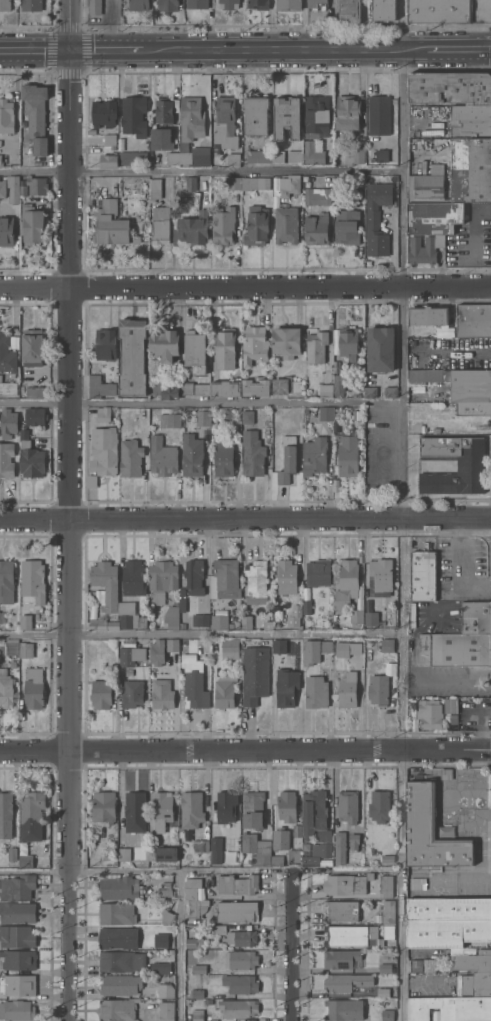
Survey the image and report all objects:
building: (197, 4)
building: (228, 4)
building: (258, 4)
building: (317, 4)
building: (5, 5)
building: (31, 5)
building: (139, 5)
building: (167, 5)
building: (289, 5)
building: (95, 7)
building: (383, 10)
building: (349, 11)
building: (440, 11)
road: (274, 48)
road: (446, 48)
road: (34, 49)
traffic signals: (69, 49)
road: (108, 49)
building: (450, 87)
building: (165, 109)
building: (347, 112)
building: (104, 113)
building: (316, 113)
building: (255, 115)
building: (378, 115)
building: (6, 116)
building: (36, 116)
building: (133, 116)
building: (287, 116)
building: (191, 118)
building: (471, 121)
building: (225, 122)
building: (161, 138)
building: (109, 139)
building: (0, 144)
building: (355, 153)
building: (195, 154)
building: (382, 155)
building: (259, 156)
building: (278, 156)
building: (295, 156)
building: (133, 157)
building: (173, 158)
building: (329, 158)
building: (233, 159)
building: (109, 160)
building: (1, 161)
road: (200, 172)
building: (458, 175)
building: (190, 183)
building: (235, 183)
building: (255, 183)
building: (36, 185)
building: (289, 185)
building: (2, 188)
building: (13, 189)
building: (155, 189)
building: (23, 190)
building: (317, 196)
building: (376, 217)
building: (434, 217)
building: (106, 222)
building: (32, 224)
building: (161, 224)
building: (223, 225)
building: (256, 225)
building: (286, 225)
building: (347, 226)
building: (316, 229)
building: (6, 230)
building: (192, 230)
building: (126, 232)
building: (425, 248)
road: (401, 256)
road: (245, 282)
building: (428, 315)
building: (473, 320)
building: (15, 341)
building: (286, 341)
building: (348, 341)
building: (164, 343)
building: (105, 344)
building: (254, 345)
building: (316, 346)
building: (32, 347)
building: (225, 349)
building: (380, 349)
building: (195, 350)
road: (456, 351)
building: (6, 354)
building: (132, 357)
building: (422, 377)
building: (285, 385)
building: (338, 385)
building: (470, 385)
building: (100, 386)
building: (255, 387)
building: (9, 388)
building: (195, 388)
building: (226, 388)
building: (325, 390)
building: (164, 391)
building: (370, 391)
building: (390, 391)
building: (33, 392)
road: (200, 403)
building: (473, 408)
building: (326, 413)
building: (337, 413)
building: (103, 414)
building: (227, 415)
building: (35, 417)
building: (203, 417)
building: (247, 417)
building: (276, 417)
building: (169, 420)
building: (8, 421)
building: (214, 428)
building: (104, 450)
building: (252, 453)
building: (192, 455)
building: (314, 455)
building: (348, 455)
building: (162, 456)
building: (30, 457)
building: (130, 458)
building: (7, 459)
building: (223, 459)
building: (287, 459)
building: (470, 466)
road: (69, 510)
road: (446, 514)
road: (200, 515)
building: (318, 572)
building: (286, 575)
building: (422, 575)
building: (163, 576)
building: (194, 576)
building: (380, 577)
building: (133, 578)
building: (224, 579)
building: (6, 581)
building: (32, 581)
building: (256, 582)
building: (348, 583)
building: (106, 584)
building: (152, 599)
building: (277, 602)
building: (307, 607)
building: (296, 610)
building: (127, 615)
building: (171, 616)
building: (356, 618)
building: (473, 618)
building: (203, 620)
building: (372, 620)
building: (25, 621)
building: (142, 622)
building: (219, 622)
building: (246, 622)
building: (102, 624)
building: (182, 625)
building: (267, 625)
road: (200, 633)
building: (172, 644)
building: (230, 645)
building: (279, 645)
building: (387, 645)
building: (326, 646)
building: (12, 647)
building: (182, 647)
building: (456, 648)
building: (346, 649)
building: (26, 650)
building: (311, 651)
building: (157, 652)
building: (131, 655)
building: (129, 672)
building: (255, 674)
building: (194, 683)
building: (286, 686)
building: (33, 688)
building: (6, 689)
building: (378, 689)
building: (348, 690)
building: (316, 692)
building: (102, 693)
building: (132, 693)
building: (162, 694)
building: (224, 694)
building: (450, 705)
building: (430, 714)
building: (447, 718)
road: (245, 749)
road: (403, 767)
building: (446, 773)
building: (226, 806)
building: (287, 806)
building: (348, 806)
building: (379, 806)
building: (103, 807)
building: (163, 809)
building: (191, 810)
building: (253, 810)
building: (135, 811)
building: (5, 814)
building: (315, 815)
building: (31, 816)
building: (296, 830)
building: (430, 830)
building: (445, 831)
building: (181, 834)
building: (94, 836)
building: (280, 839)
building: (353, 841)
building: (215, 843)
building: (200, 845)
building: (340, 847)
building: (256, 849)
building: (317, 853)
building: (12, 854)
building: (124, 854)
building: (163, 854)
building: (294, 856)
building: (387, 858)
building: (277, 860)
building: (26, 861)
road: (289, 870)
road: (89, 871)
building: (418, 883)
building: (237, 884)
building: (346, 884)
building: (386, 886)
building: (17, 887)
building: (119, 887)
building: (192, 887)
building: (165, 889)
building: (196, 907)
building: (342, 911)
building: (388, 911)
building: (17, 912)
building: (237, 912)
building: (116, 913)
building: (166, 917)
building: (447, 921)
building: (219, 929)
building: (17, 935)
building: (358, 935)
building: (117, 936)
building: (160, 938)
building: (242, 938)
building: (194, 942)
road: (290, 945)
road: (179, 946)
building: (190, 956)
building: (17, 957)
building: (340, 958)
building: (240, 959)
building: (121, 960)
building: (471, 961)
building: (422, 964)
building: (160, 966)
building: (384, 966)
building: (198, 968)
building: (385, 979)
building: (346, 981)
building: (17, 983)
building: (120, 984)
building: (240, 984)
building: (476, 984)
building: (163, 988)
building: (385, 991)
building: (195, 993)
building: (16, 1008)
building: (116, 1008)
building: (237, 1008)
building: (450, 1008)
building: (344, 1009)
building: (165, 1010)
building: (196, 1014)
building: (387, 1014)

